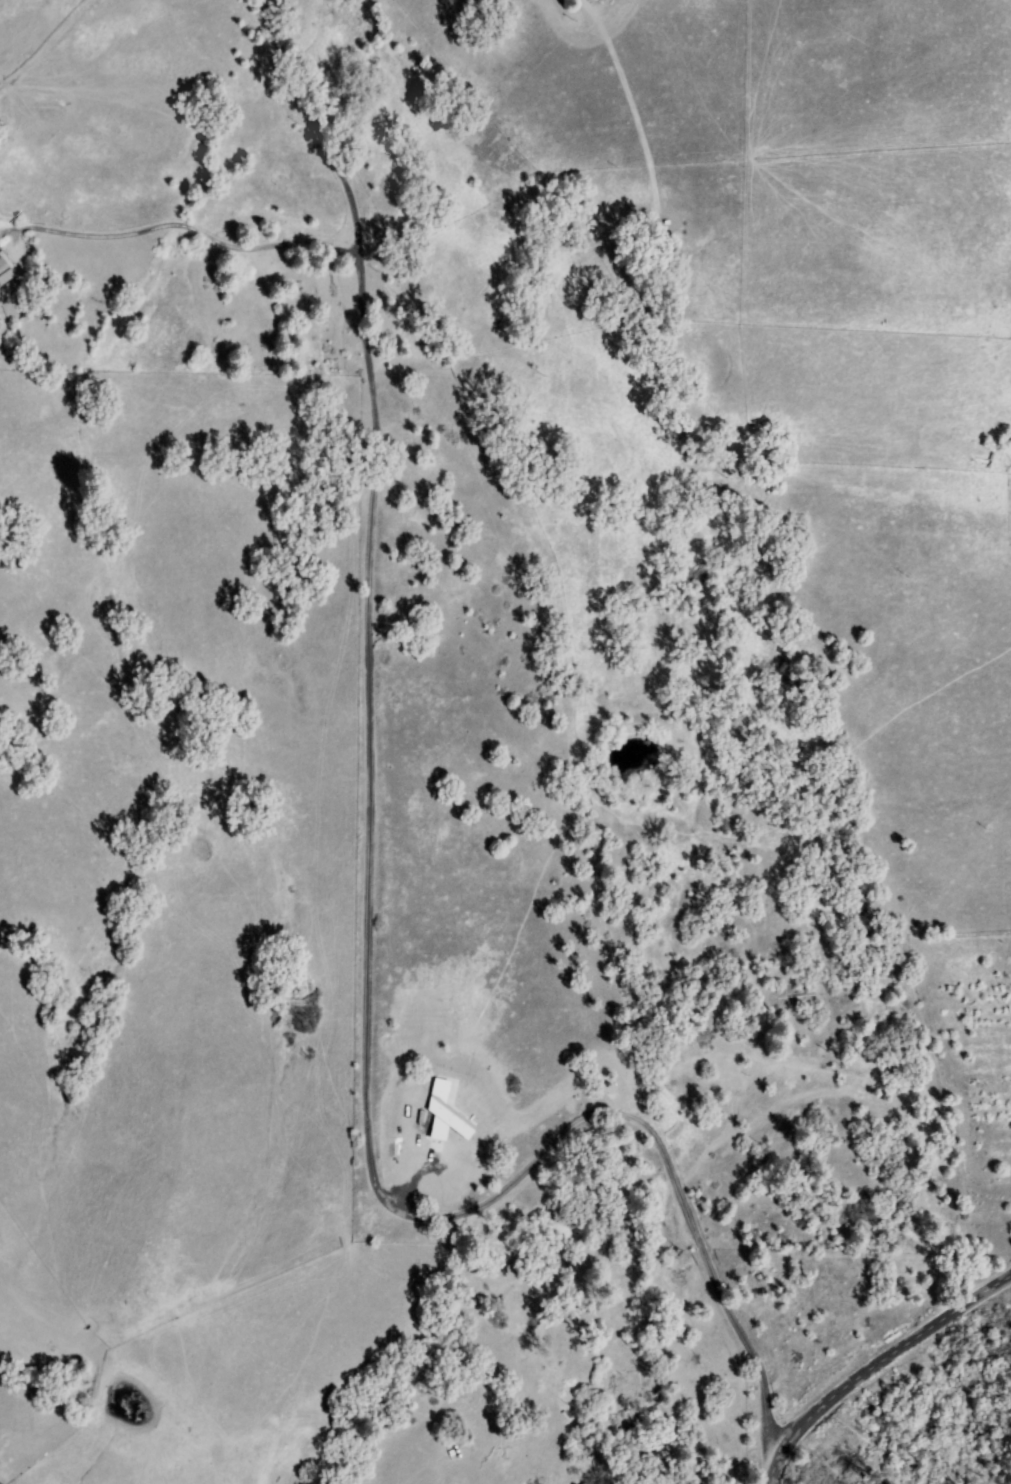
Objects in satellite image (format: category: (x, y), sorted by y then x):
building: (5, 272)
road: (371, 934)
road: (874, 1362)

